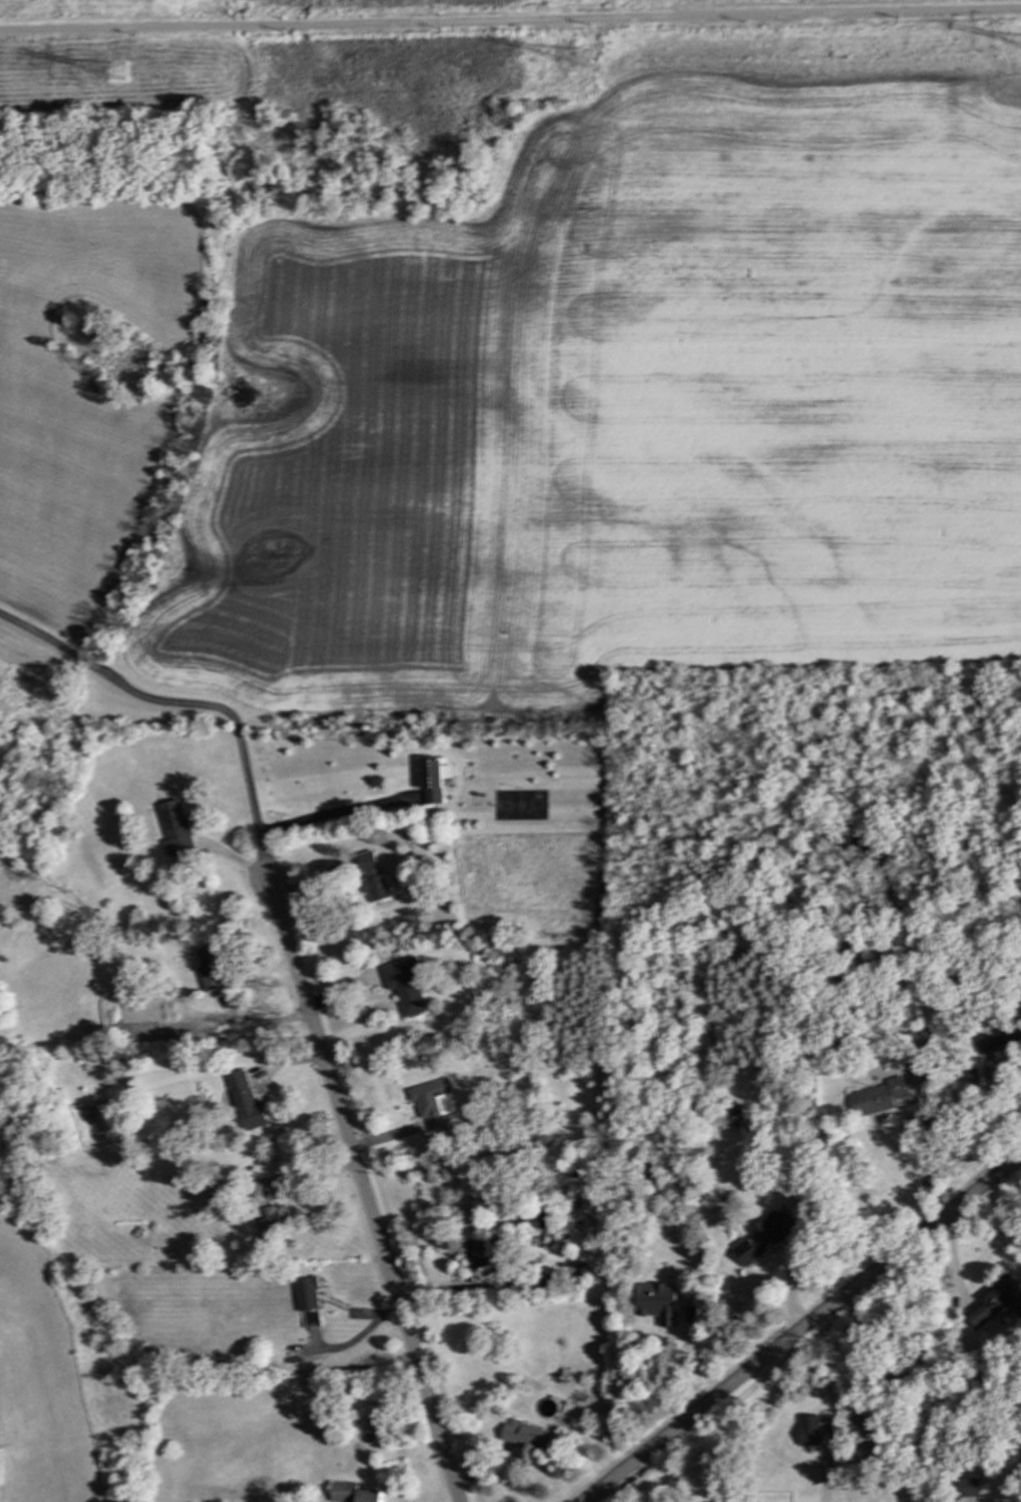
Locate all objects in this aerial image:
road: (510, 20)
power tower: (577, 62)
power tower: (116, 75)
crop: (68, 409)
crop: (612, 420)
road: (190, 702)
building: (433, 780)
road: (327, 813)
building: (178, 833)
building: (373, 877)
building: (212, 969)
building: (406, 985)
building: (1001, 1036)
building: (971, 1076)
building: (877, 1098)
building: (246, 1100)
building: (433, 1103)
road: (925, 1162)
building: (219, 1187)
building: (259, 1188)
road: (362, 1190)
building: (544, 1219)
building: (275, 1220)
building: (764, 1236)
building: (476, 1253)
building: (308, 1294)
building: (995, 1302)
building: (658, 1303)
building: (692, 1315)
building: (311, 1319)
road: (801, 1330)
road: (864, 1359)
building: (809, 1430)
building: (860, 1432)
building: (527, 1435)
building: (969, 1490)
building: (353, 1493)

